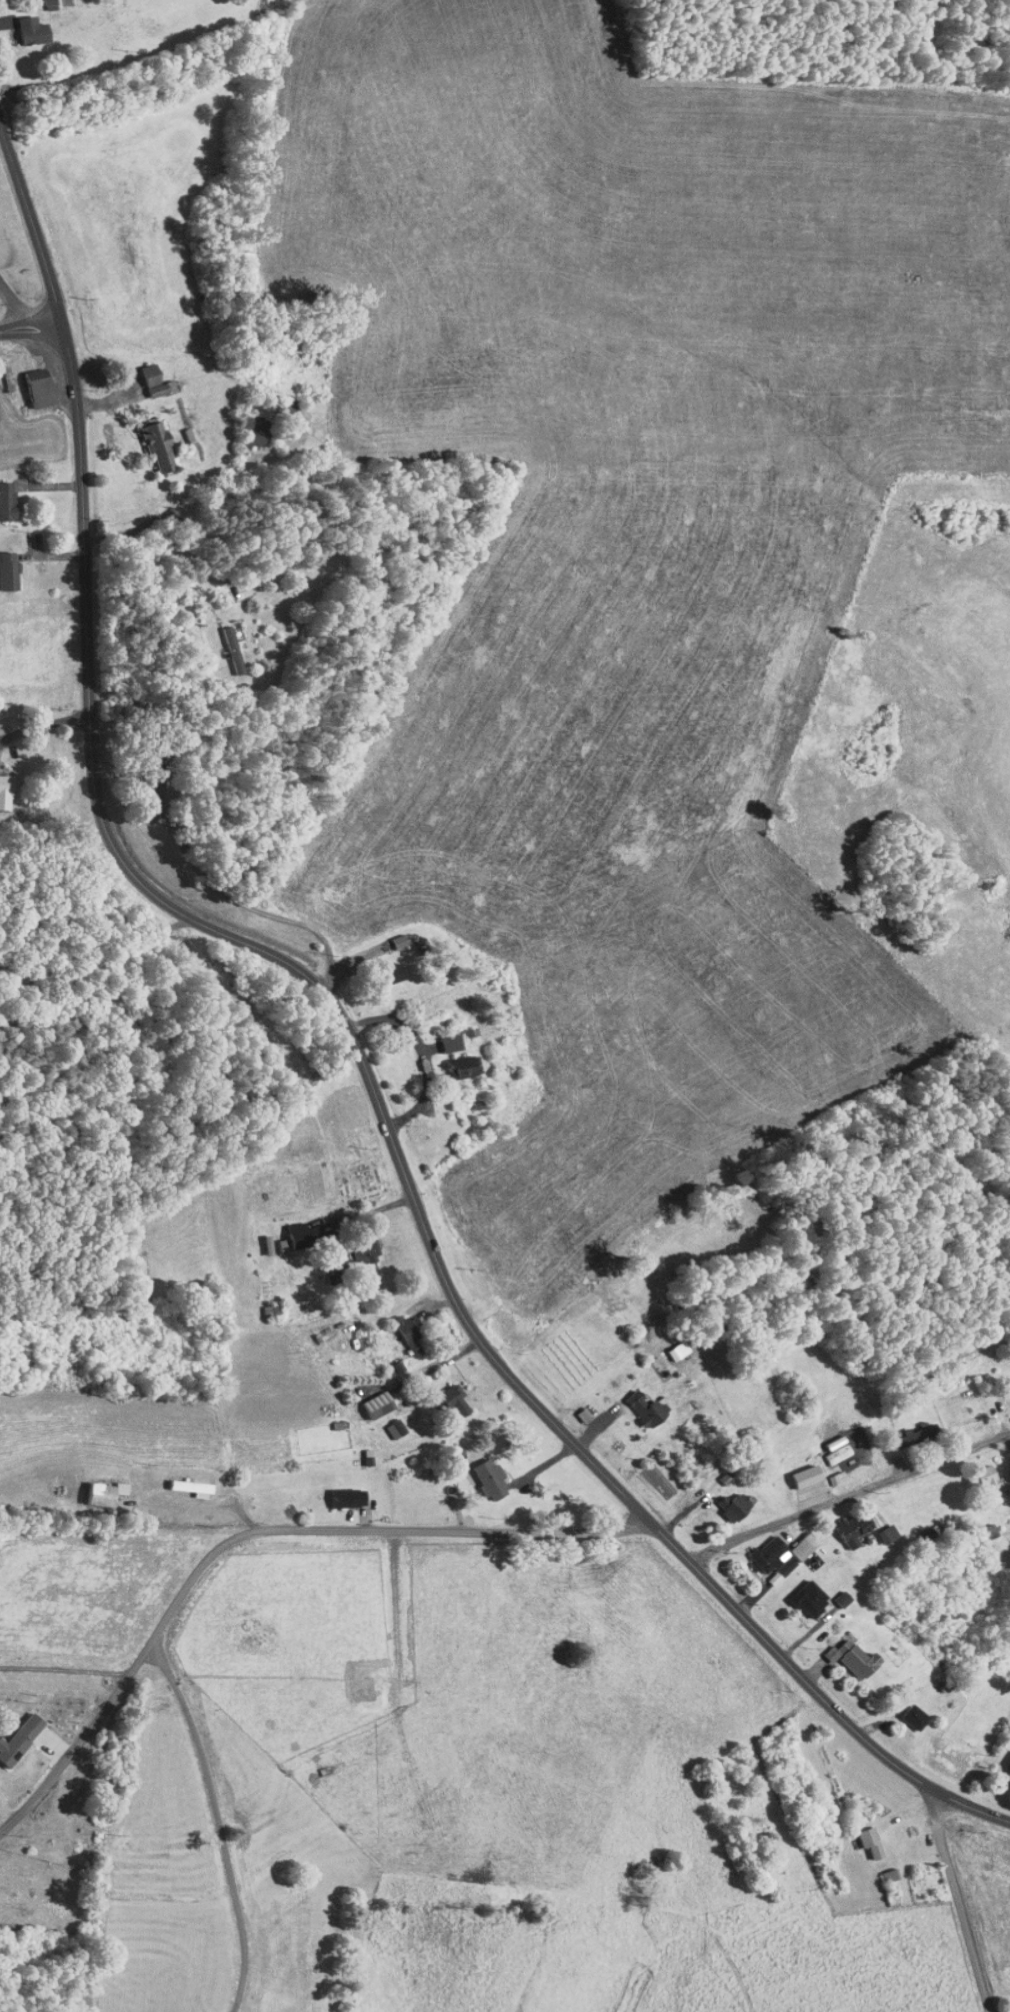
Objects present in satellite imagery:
building: (40, 1)
building: (23, 24)
road: (14, 305)
road: (30, 324)
building: (148, 375)
building: (30, 382)
building: (247, 430)
building: (150, 439)
building: (3, 495)
road: (248, 554)
building: (4, 565)
building: (229, 645)
building: (1, 787)
building: (385, 967)
road: (345, 1037)
building: (441, 1037)
building: (452, 1061)
building: (291, 1229)
building: (356, 1244)
building: (403, 1330)
building: (669, 1344)
building: (1004, 1382)
building: (445, 1392)
building: (370, 1397)
building: (637, 1402)
building: (578, 1406)
building: (386, 1422)
building: (893, 1430)
building: (823, 1444)
building: (789, 1470)
building: (970, 1471)
building: (479, 1472)
building: (823, 1472)
building: (97, 1486)
building: (340, 1491)
building: (721, 1499)
road: (843, 1499)
building: (838, 1523)
road: (251, 1525)
building: (872, 1527)
building: (789, 1540)
building: (758, 1551)
building: (793, 1593)
building: (829, 1593)
building: (838, 1651)
road: (58, 1663)
building: (897, 1711)
building: (15, 1730)
building: (31, 1731)
building: (1001, 1760)
building: (856, 1835)
building: (878, 1868)
road: (958, 1902)

